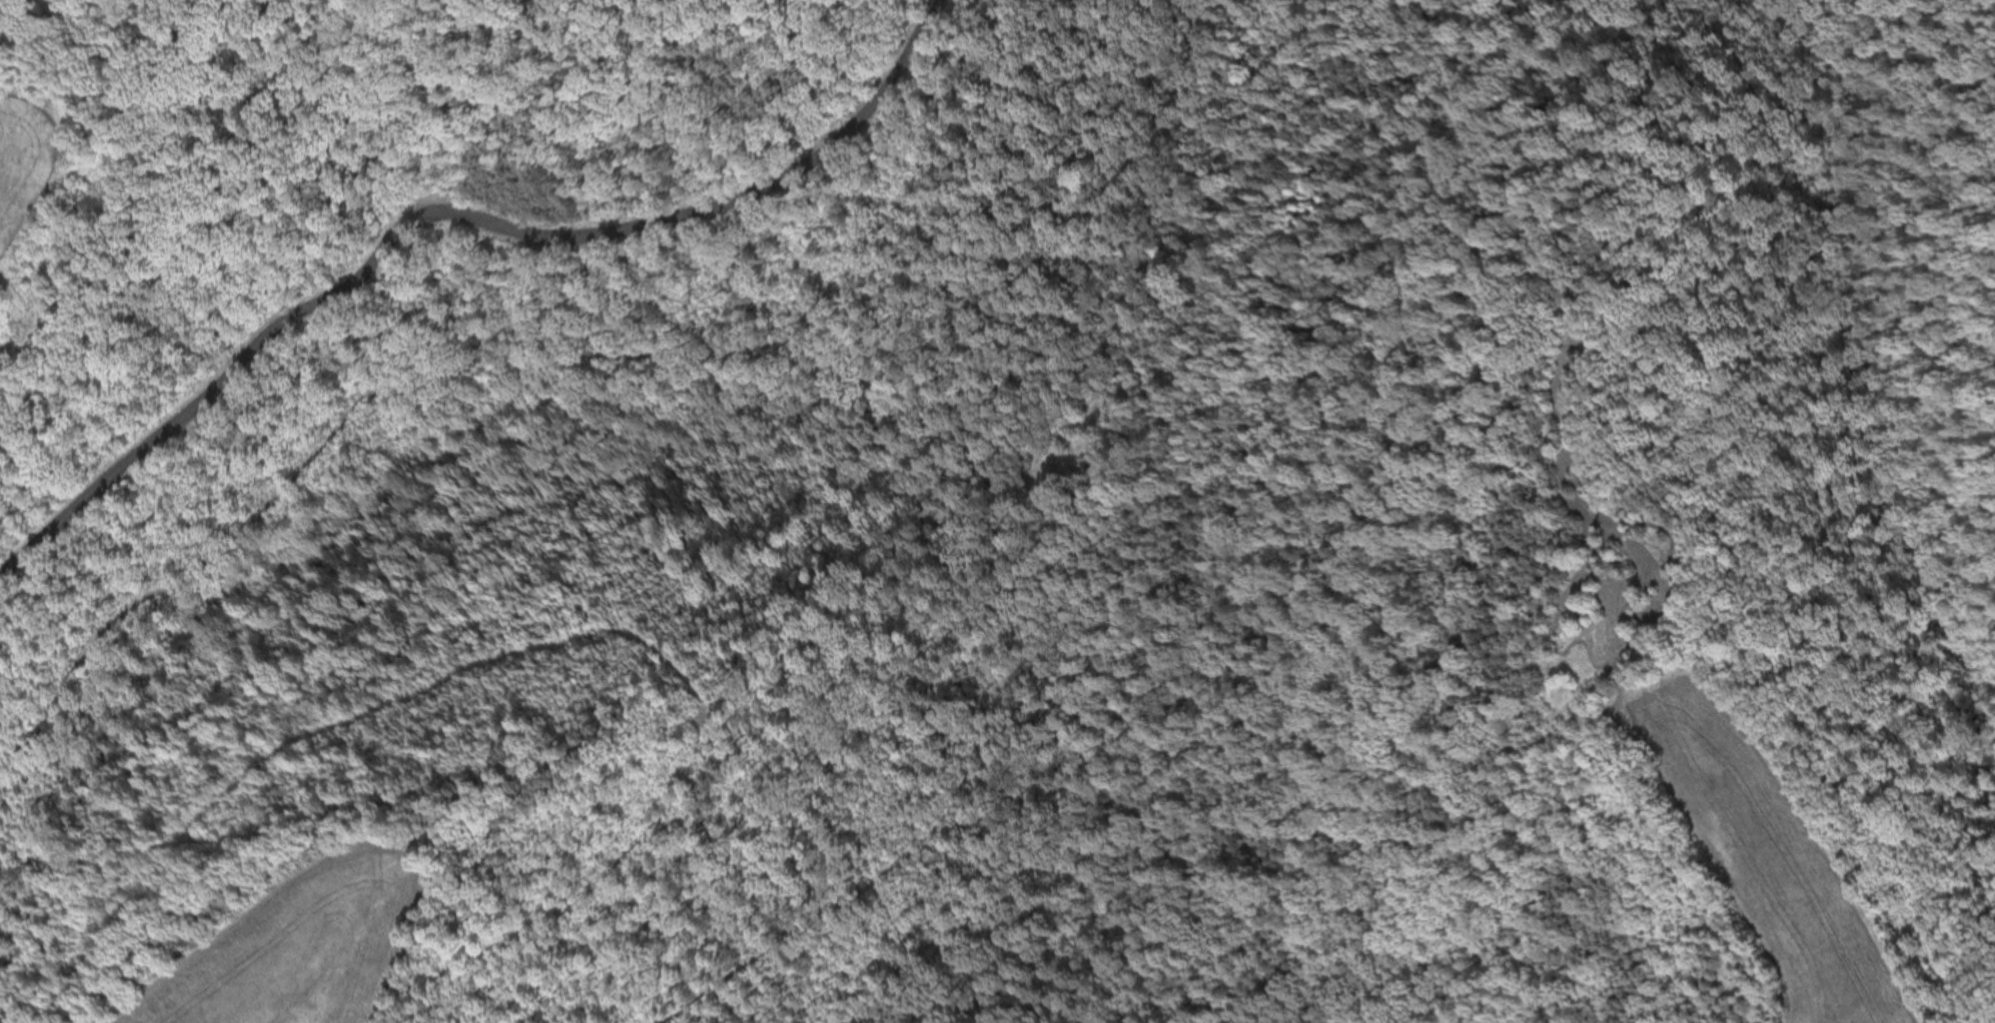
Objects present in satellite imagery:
road: (450, 214)

